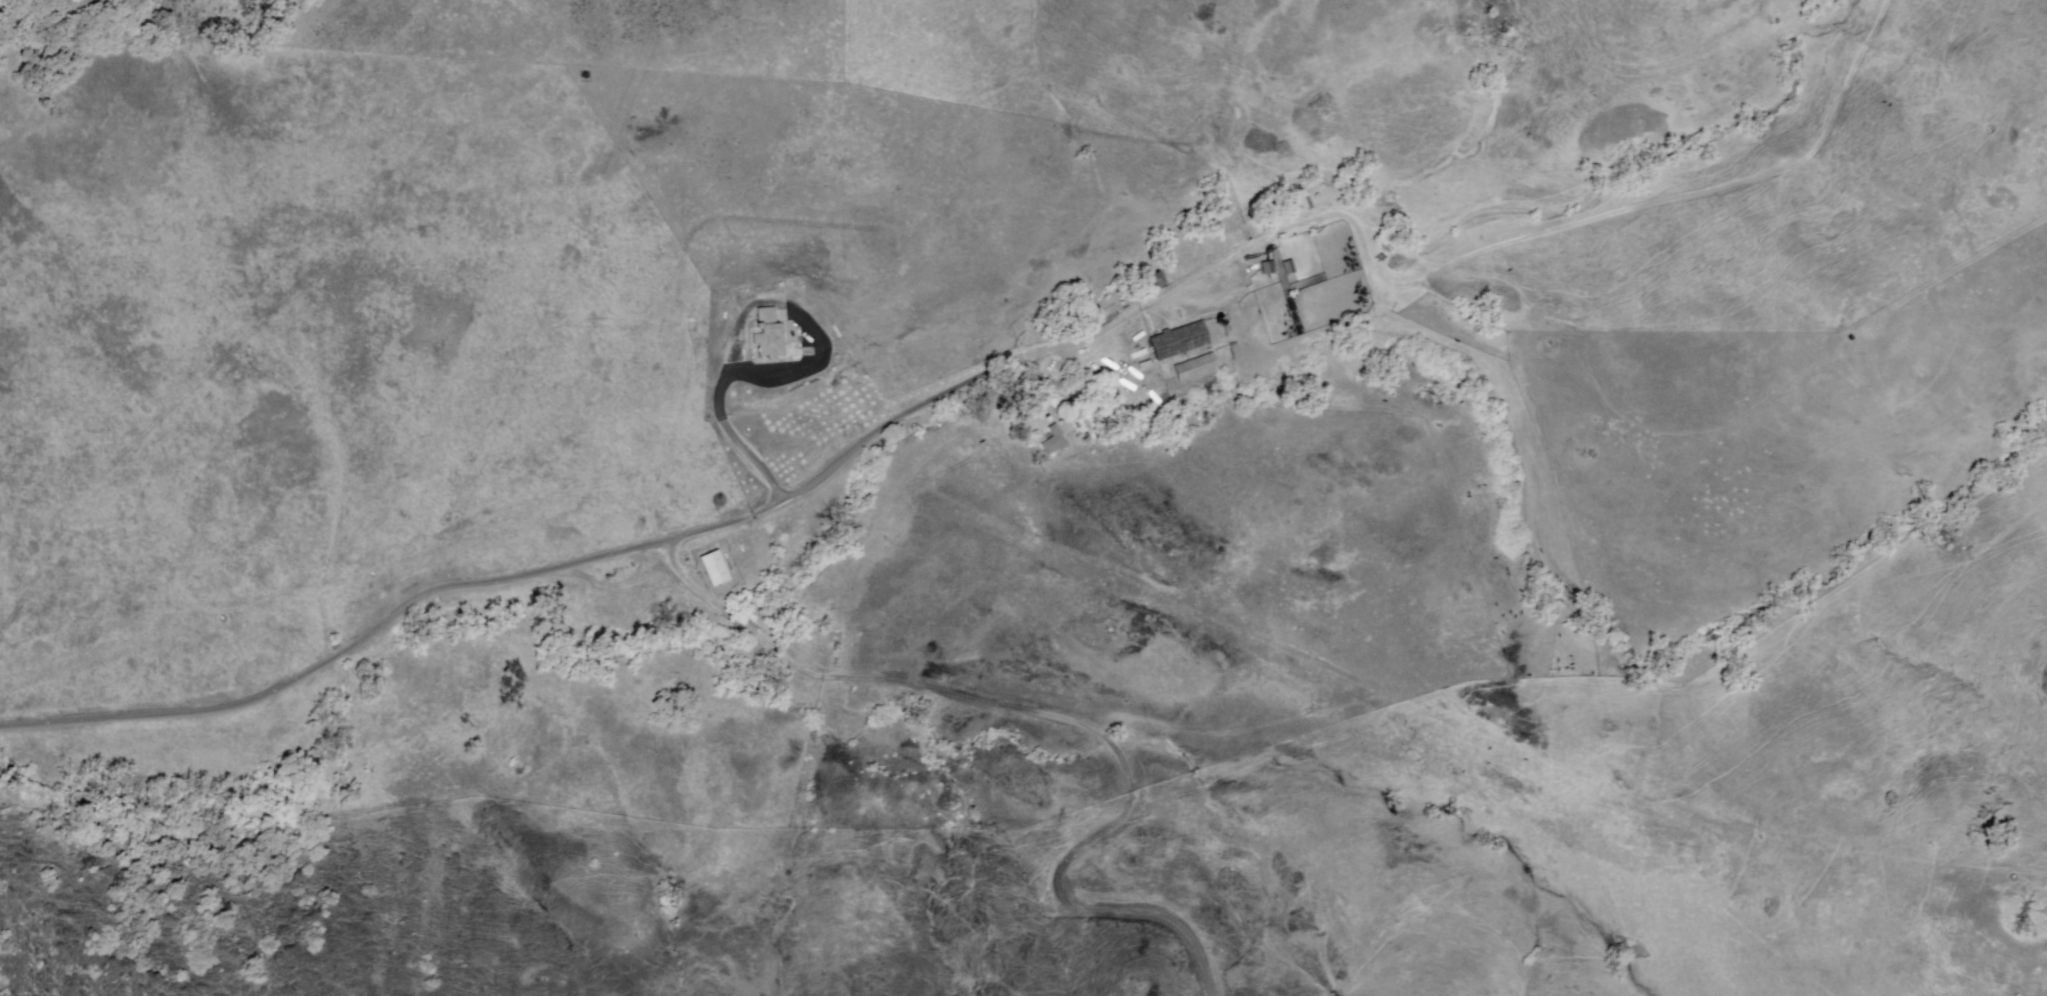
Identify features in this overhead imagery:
road: (1481, 253)
road: (1964, 263)
building: (1269, 269)
building: (1290, 269)
storage tank: (1222, 325)
building: (770, 336)
building: (1181, 342)
building: (1198, 370)
road: (789, 377)
building: (1056, 442)
road: (847, 457)
building: (716, 570)
road: (745, 621)
building: (822, 649)
road: (1609, 687)
road: (1223, 730)

